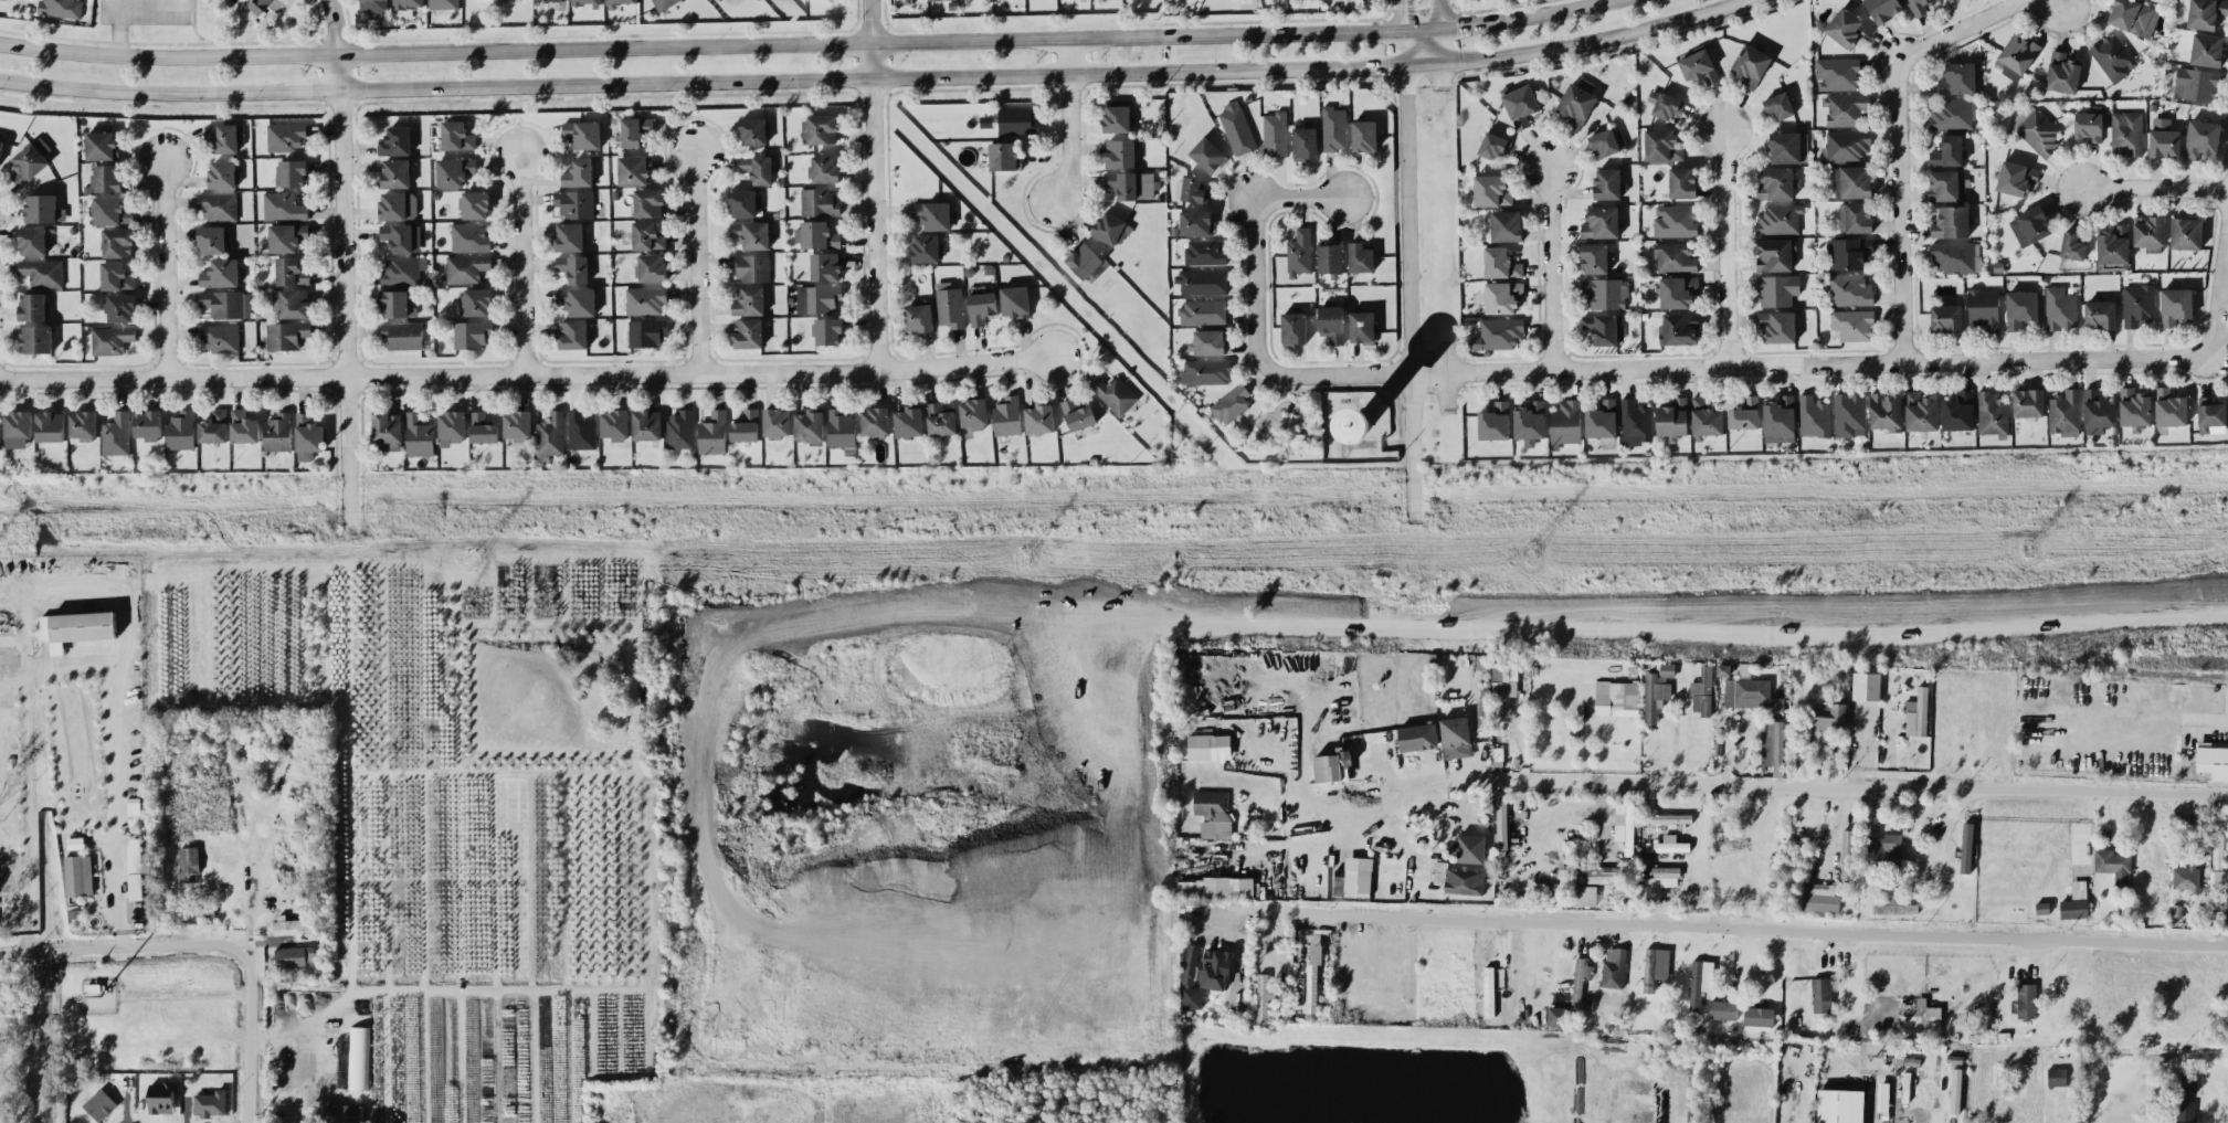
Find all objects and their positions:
building: (549, 0)
building: (621, 0)
building: (1947, 0)
building: (584, 2)
building: (406, 3)
building: (443, 3)
building: (663, 3)
road: (144, 4)
building: (258, 6)
building: (372, 6)
building: (1919, 7)
building: (62, 8)
building: (1883, 9)
building: (2206, 13)
park: (212, 15)
building: (2133, 17)
building: (1847, 28)
road: (116, 29)
road: (1955, 29)
road: (1400, 32)
road: (1430, 36)
road: (151, 38)
road: (803, 44)
building: (2207, 49)
building: (2016, 55)
building: (2113, 56)
building: (1751, 64)
building: (1698, 66)
building: (2062, 72)
building: (1837, 73)
building: (1957, 77)
road: (873, 80)
building: (2196, 84)
building: (1576, 102)
building: (1662, 104)
building: (1521, 105)
building: (1778, 106)
building: (1846, 108)
building: (1953, 113)
building: (1118, 118)
building: (1017, 120)
road: (1070, 120)
building: (2089, 124)
building: (1237, 128)
building: (1334, 128)
building: (2036, 128)
building: (635, 129)
building: (819, 129)
building: (754, 130)
building: (2126, 131)
building: (1275, 133)
building: (583, 134)
building: (457, 135)
building: (225, 136)
building: (286, 136)
building: (1364, 136)
building: (2164, 138)
building: (2201, 138)
building: (395, 140)
building: (1607, 141)
building: (1305, 142)
building: (1848, 144)
building: (102, 145)
building: (1493, 145)
building: (1662, 145)
building: (1785, 147)
building: (1, 148)
building: (1949, 150)
building: (1120, 152)
building: (1207, 153)
building: (1003, 155)
building: (31, 160)
building: (758, 168)
building: (824, 169)
building: (454, 170)
building: (633, 170)
building: (291, 172)
building: (579, 172)
building: (223, 173)
building: (394, 173)
building: (106, 177)
building: (2016, 178)
building: (1682, 181)
building: (1852, 181)
road: (876, 183)
building: (1131, 183)
building: (1608, 183)
building: (1776, 183)
building: (1946, 184)
road: (2151, 188)
building: (1193, 190)
building: (1491, 190)
building: (819, 201)
building: (648, 202)
building: (745, 202)
building: (474, 203)
building: (574, 203)
building: (398, 204)
building: (218, 205)
building: (283, 205)
building: (43, 208)
building: (110, 210)
road: (1896, 210)
building: (932, 214)
building: (1856, 216)
building: (1780, 218)
building: (1675, 220)
building: (1951, 221)
building: (1195, 222)
building: (1601, 222)
building: (1506, 225)
building: (2030, 225)
building: (1111, 227)
building: (2148, 232)
building: (751, 233)
building: (2186, 233)
building: (816, 234)
building: (647, 235)
road: (1250, 235)
building: (287, 236)
building: (401, 236)
building: (468, 236)
building: (569, 236)
building: (213, 240)
building: (32, 241)
building: (117, 242)
building: (2072, 245)
road: (1723, 246)
building: (926, 247)
building: (1204, 252)
building: (1299, 252)
building: (1848, 252)
building: (1775, 254)
building: (1360, 256)
building: (1675, 256)
building: (1956, 256)
building: (1330, 257)
building: (1594, 257)
building: (1084, 259)
road: (526, 262)
road: (699, 262)
building: (1500, 263)
road: (345, 264)
road: (170, 265)
building: (825, 265)
building: (751, 266)
building: (466, 267)
building: (573, 267)
building: (652, 267)
road: (1548, 268)
building: (403, 269)
building: (292, 271)
building: (42, 272)
building: (221, 273)
road: (2217, 273)
building: (116, 275)
building: (1202, 282)
building: (1776, 289)
building: (1850, 289)
building: (1677, 290)
road: (1406, 292)
building: (1606, 293)
building: (1502, 296)
building: (817, 298)
building: (645, 299)
building: (476, 300)
building: (578, 300)
building: (749, 300)
building: (1015, 300)
building: (226, 303)
building: (291, 303)
building: (398, 304)
building: (2137, 304)
building: (950, 305)
building: (981, 305)
building: (2176, 305)
building: (33, 306)
building: (120, 307)
building: (2020, 307)
building: (1983, 308)
building: (2060, 308)
building: (1203, 311)
building: (2100, 314)
building: (919, 317)
building: (1945, 318)
building: (1331, 322)
building: (1852, 324)
building: (1362, 326)
building: (1777, 326)
building: (1293, 327)
building: (1604, 328)
building: (1679, 328)
building: (827, 330)
building: (646, 331)
building: (748, 332)
building: (1498, 332)
building: (286, 333)
building: (471, 333)
building: (572, 333)
building: (403, 335)
building: (220, 337)
building: (36, 338)
building: (110, 339)
building: (1208, 341)
road: (1735, 367)
building: (1205, 371)
road: (530, 373)
building: (1115, 393)
building: (2028, 402)
building: (1232, 403)
building: (2134, 406)
building: (2169, 407)
building: (1886, 411)
building: (1958, 411)
building: (1920, 412)
building: (2065, 412)
building: (2098, 412)
building: (973, 413)
building: (1744, 413)
building: (1992, 413)
building: (1078, 414)
building: (1850, 414)
building: (1007, 415)
building: (1814, 415)
building: (2210, 415)
building: (1706, 416)
building: (1039, 417)
building: (1672, 417)
building: (1602, 419)
building: (1780, 419)
building: (940, 420)
building: (875, 421)
building: (909, 421)
building: (1495, 421)
building: (1530, 421)
building: (777, 422)
building: (1565, 422)
building: (1635, 422)
building: (615, 423)
building: (148, 424)
building: (518, 424)
building: (647, 424)
building: (1360, 424)
building: (51, 425)
building: (746, 425)
building: (810, 425)
building: (213, 426)
building: (244, 426)
building: (452, 426)
building: (483, 427)
building: (842, 427)
building: (18, 428)
building: (680, 428)
building: (181, 430)
building: (388, 430)
building: (581, 430)
building: (278, 431)
building: (550, 433)
building: (714, 433)
building: (116, 434)
building: (419, 435)
building: (308, 436)
power tower: (2025, 550)
power tower: (1509, 553)
power tower: (1020, 555)
power tower: (483, 562)
road: (70, 578)
building: (77, 627)
road: (13, 640)
building: (1482, 661)
building: (1723, 669)
building: (1506, 674)
building: (1866, 686)
building: (1657, 690)
building: (1702, 691)
building: (1747, 691)
building: (1616, 698)
building: (1778, 704)
building: (1916, 713)
building: (1828, 716)
building: (1417, 737)
building: (1456, 737)
building: (1772, 741)
building: (1208, 746)
building: (2213, 759)
building: (1332, 765)
road: (1813, 785)
building: (1213, 812)
building: (1671, 817)
building: (1501, 824)
building: (1625, 825)
building: (1667, 846)
building: (1966, 847)
building: (1468, 848)
building: (1882, 849)
building: (2217, 849)
building: (1847, 854)
building: (189, 862)
building: (2113, 865)
road: (15, 868)
building: (135, 868)
building: (1439, 871)
building: (1599, 873)
building: (78, 875)
building: (1666, 875)
building: (1358, 876)
building: (2186, 877)
building: (2218, 879)
building: (1465, 880)
building: (1215, 887)
building: (1583, 894)
building: (1819, 897)
building: (2074, 901)
building: (1894, 905)
road: (1717, 920)
road: (208, 942)
building: (295, 955)
building: (1313, 963)
building: (1614, 966)
building: (1655, 966)
building: (1215, 968)
building: (1190, 977)
building: (1700, 981)
building: (1580, 982)
building: (1822, 994)
building: (1489, 995)
building: (1263, 997)
building: (2026, 999)
building: (1723, 1009)
building: (1759, 1015)
building: (1558, 1016)
building: (1920, 1018)
building: (358, 1057)
building: (2056, 1076)
building: (1955, 1090)
building: (1883, 1095)
building: (161, 1098)
building: (2186, 1099)
building: (210, 1102)
building: (99, 1104)
building: (1839, 1105)
road: (1870, 1112)
building: (342, 1113)
road: (1936, 1119)

